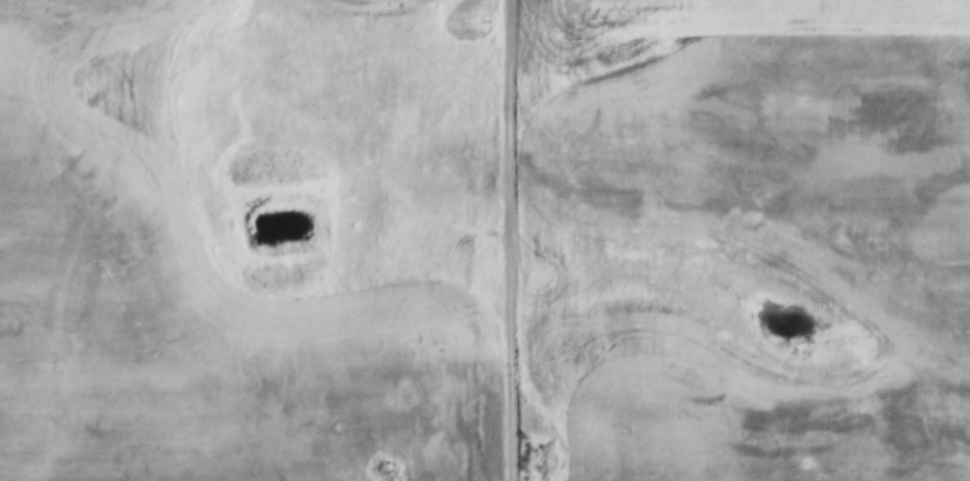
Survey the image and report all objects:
road: (513, 240)

